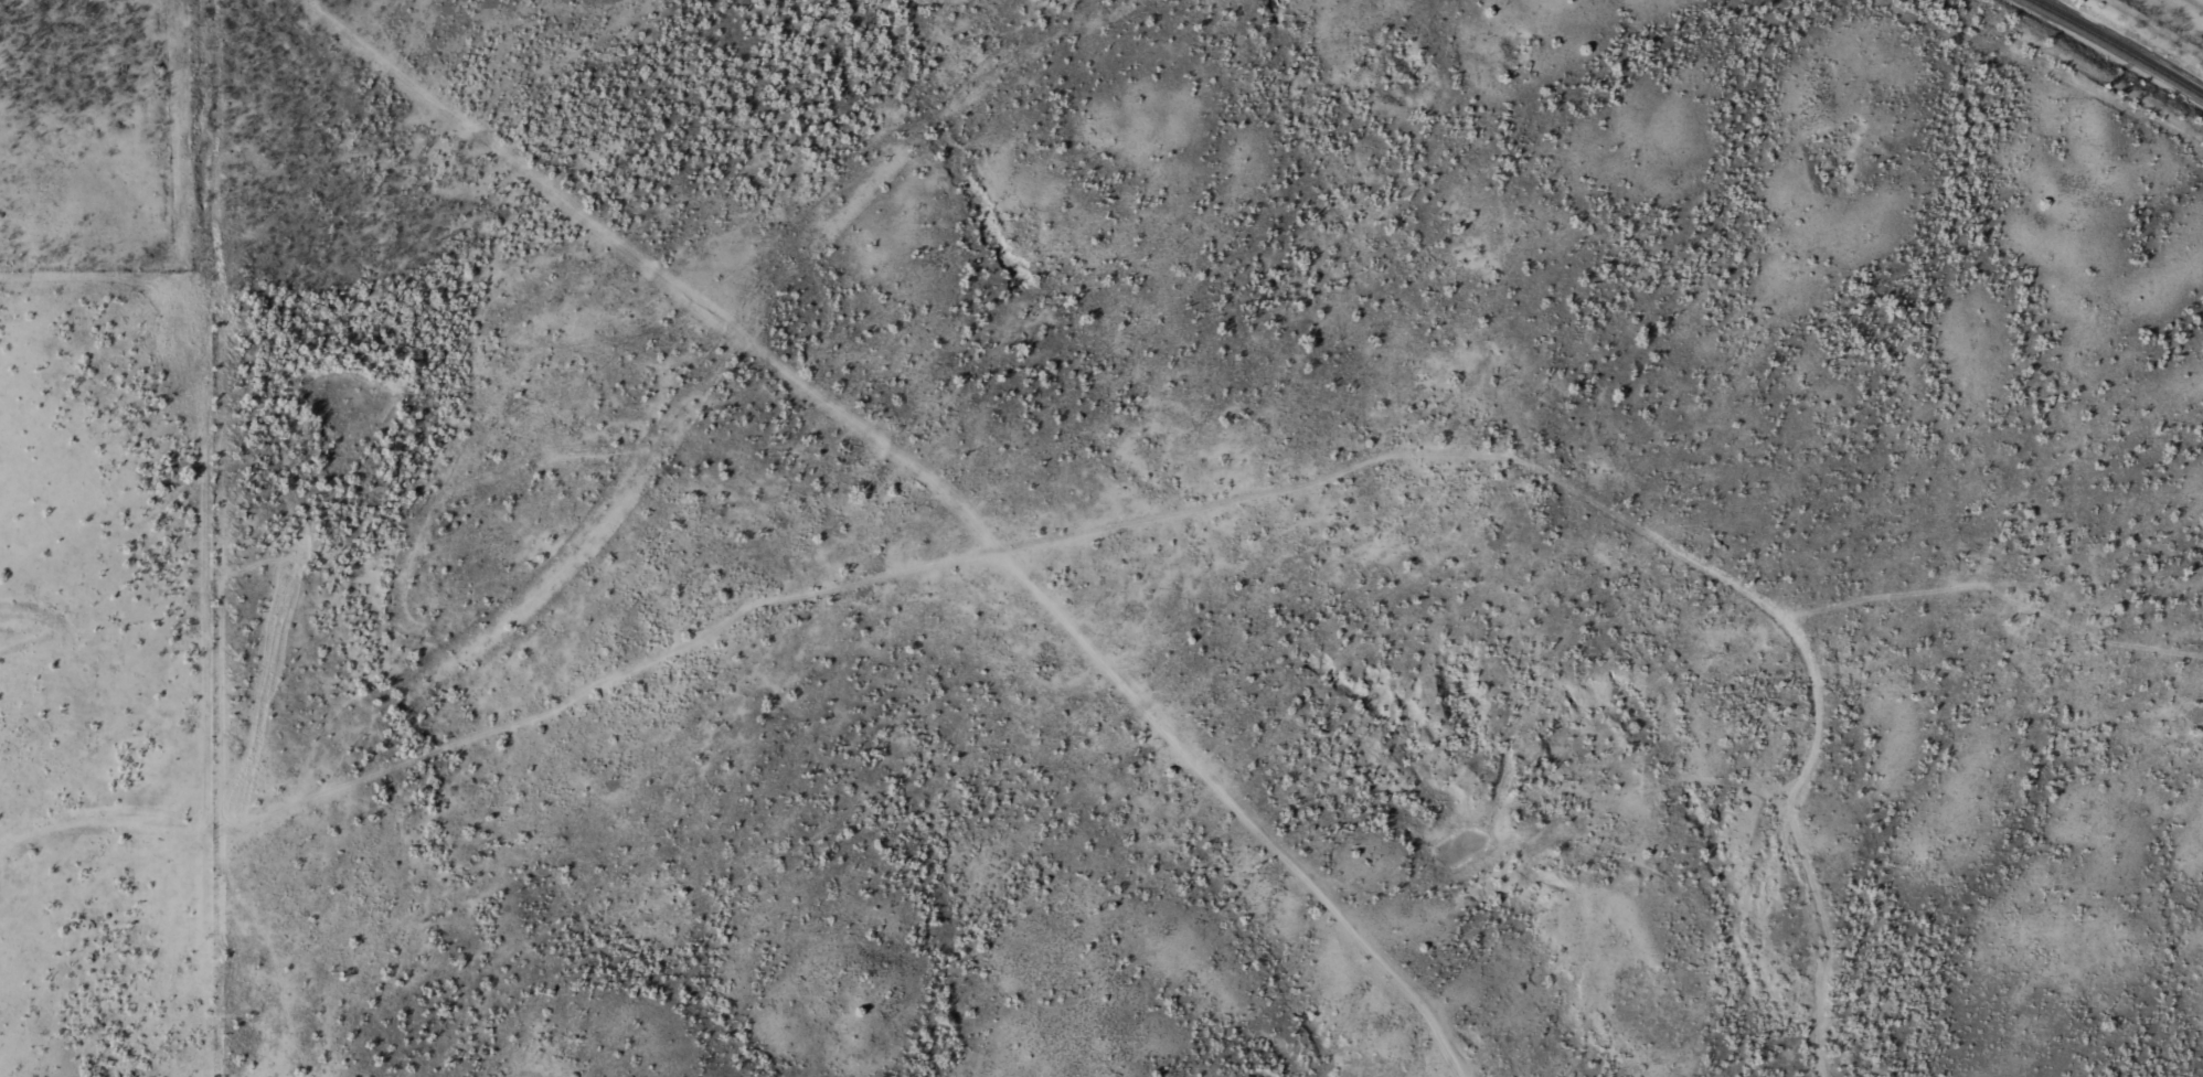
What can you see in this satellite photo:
railway: (2118, 45)

